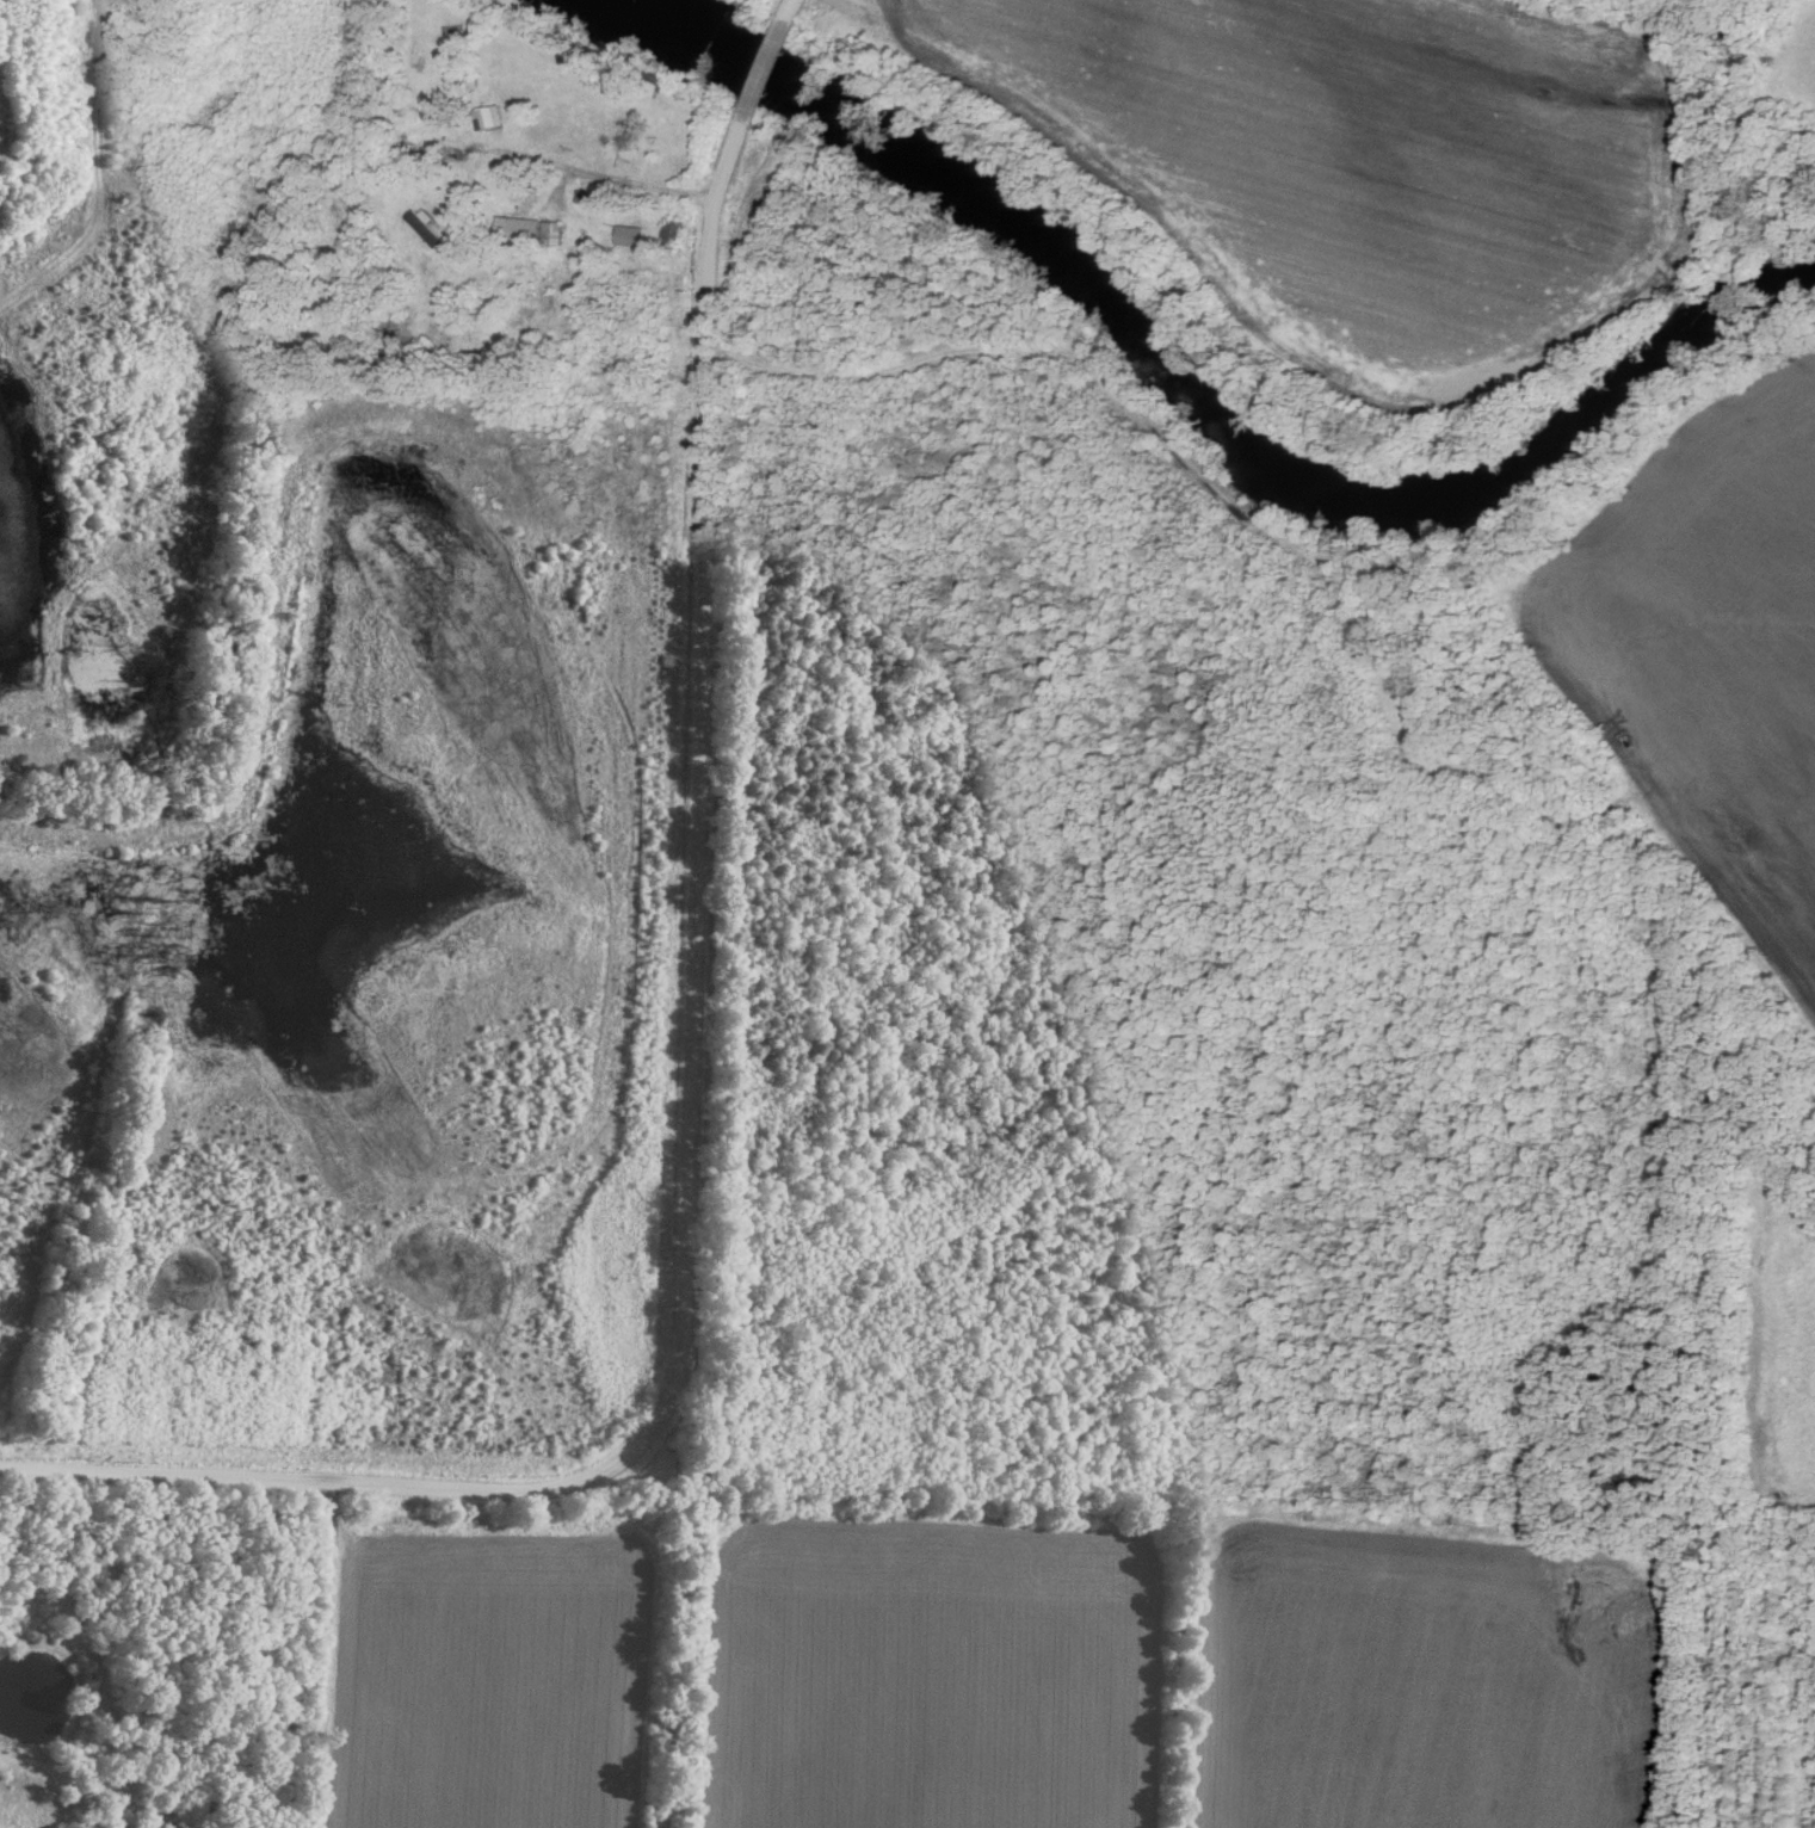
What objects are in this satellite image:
road: (796, 7)
road: (771, 70)
building: (471, 82)
building: (496, 116)
building: (679, 233)
building: (561, 234)
building: (636, 235)
building: (598, 241)
river: (1216, 400)
road: (689, 1116)

